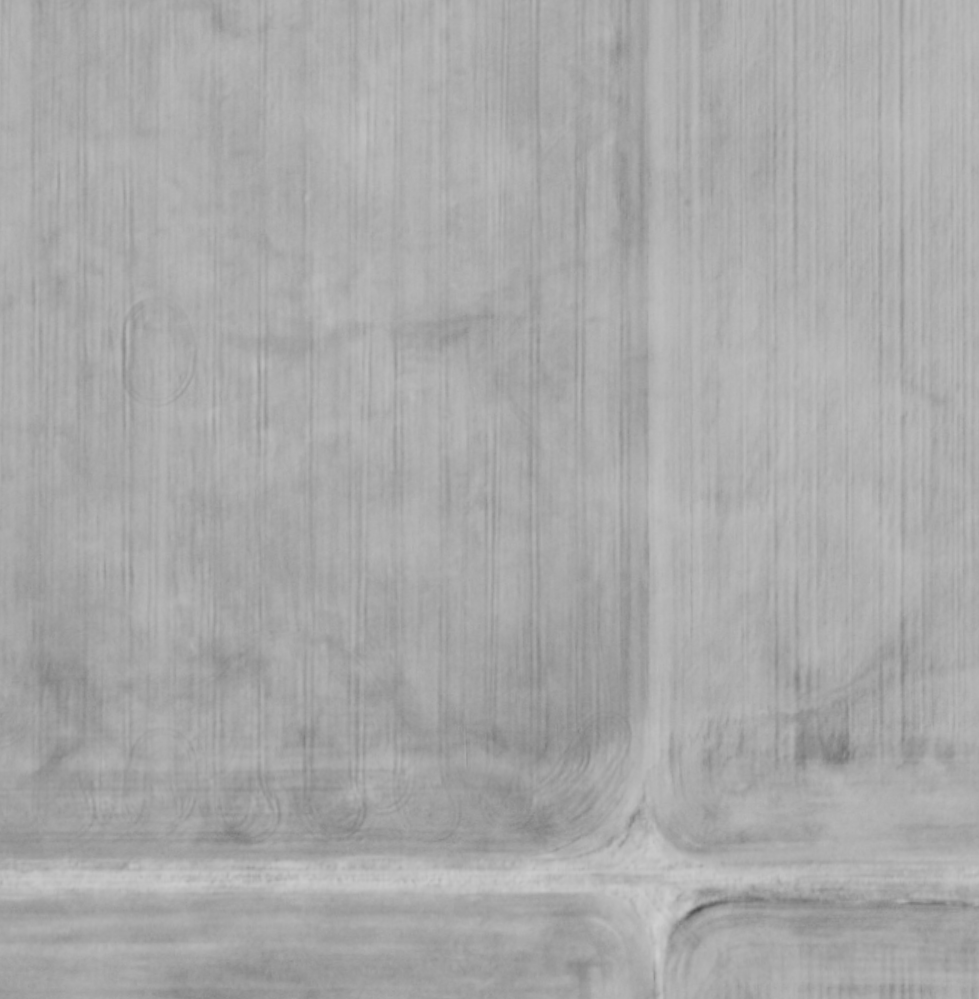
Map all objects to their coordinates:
road: (489, 872)

